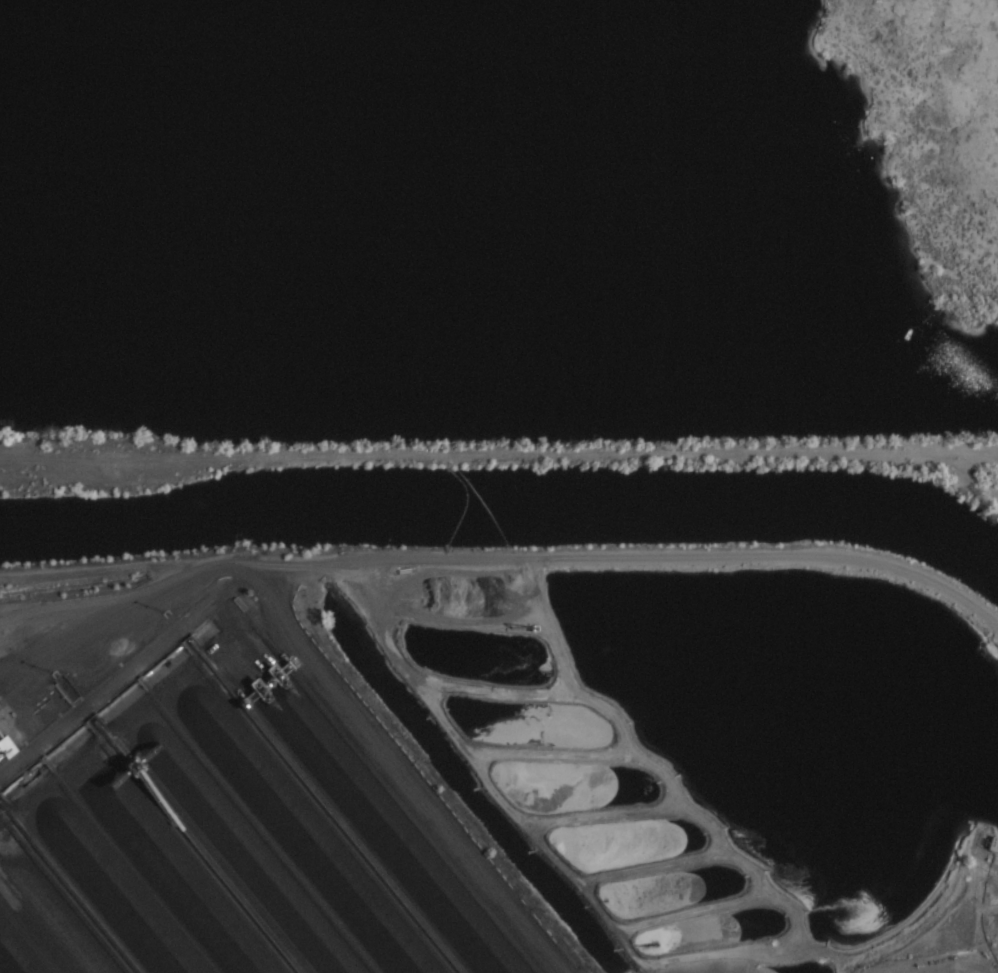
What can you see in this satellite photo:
power plant: (189, 817)

